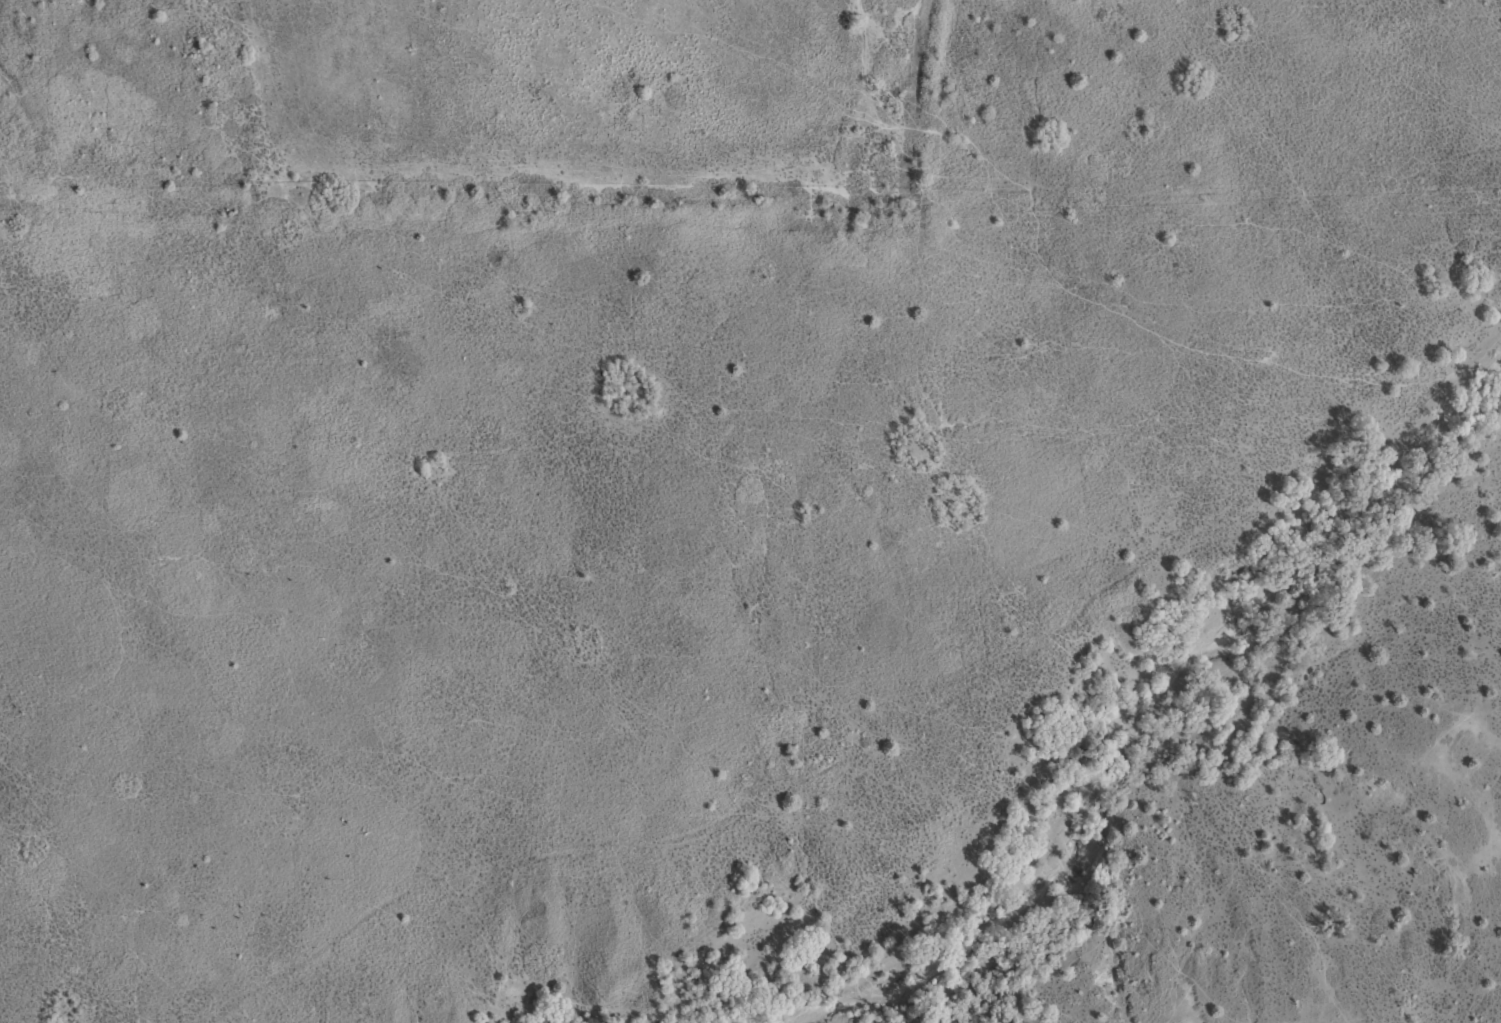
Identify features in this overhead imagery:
crop: (750, 511)

